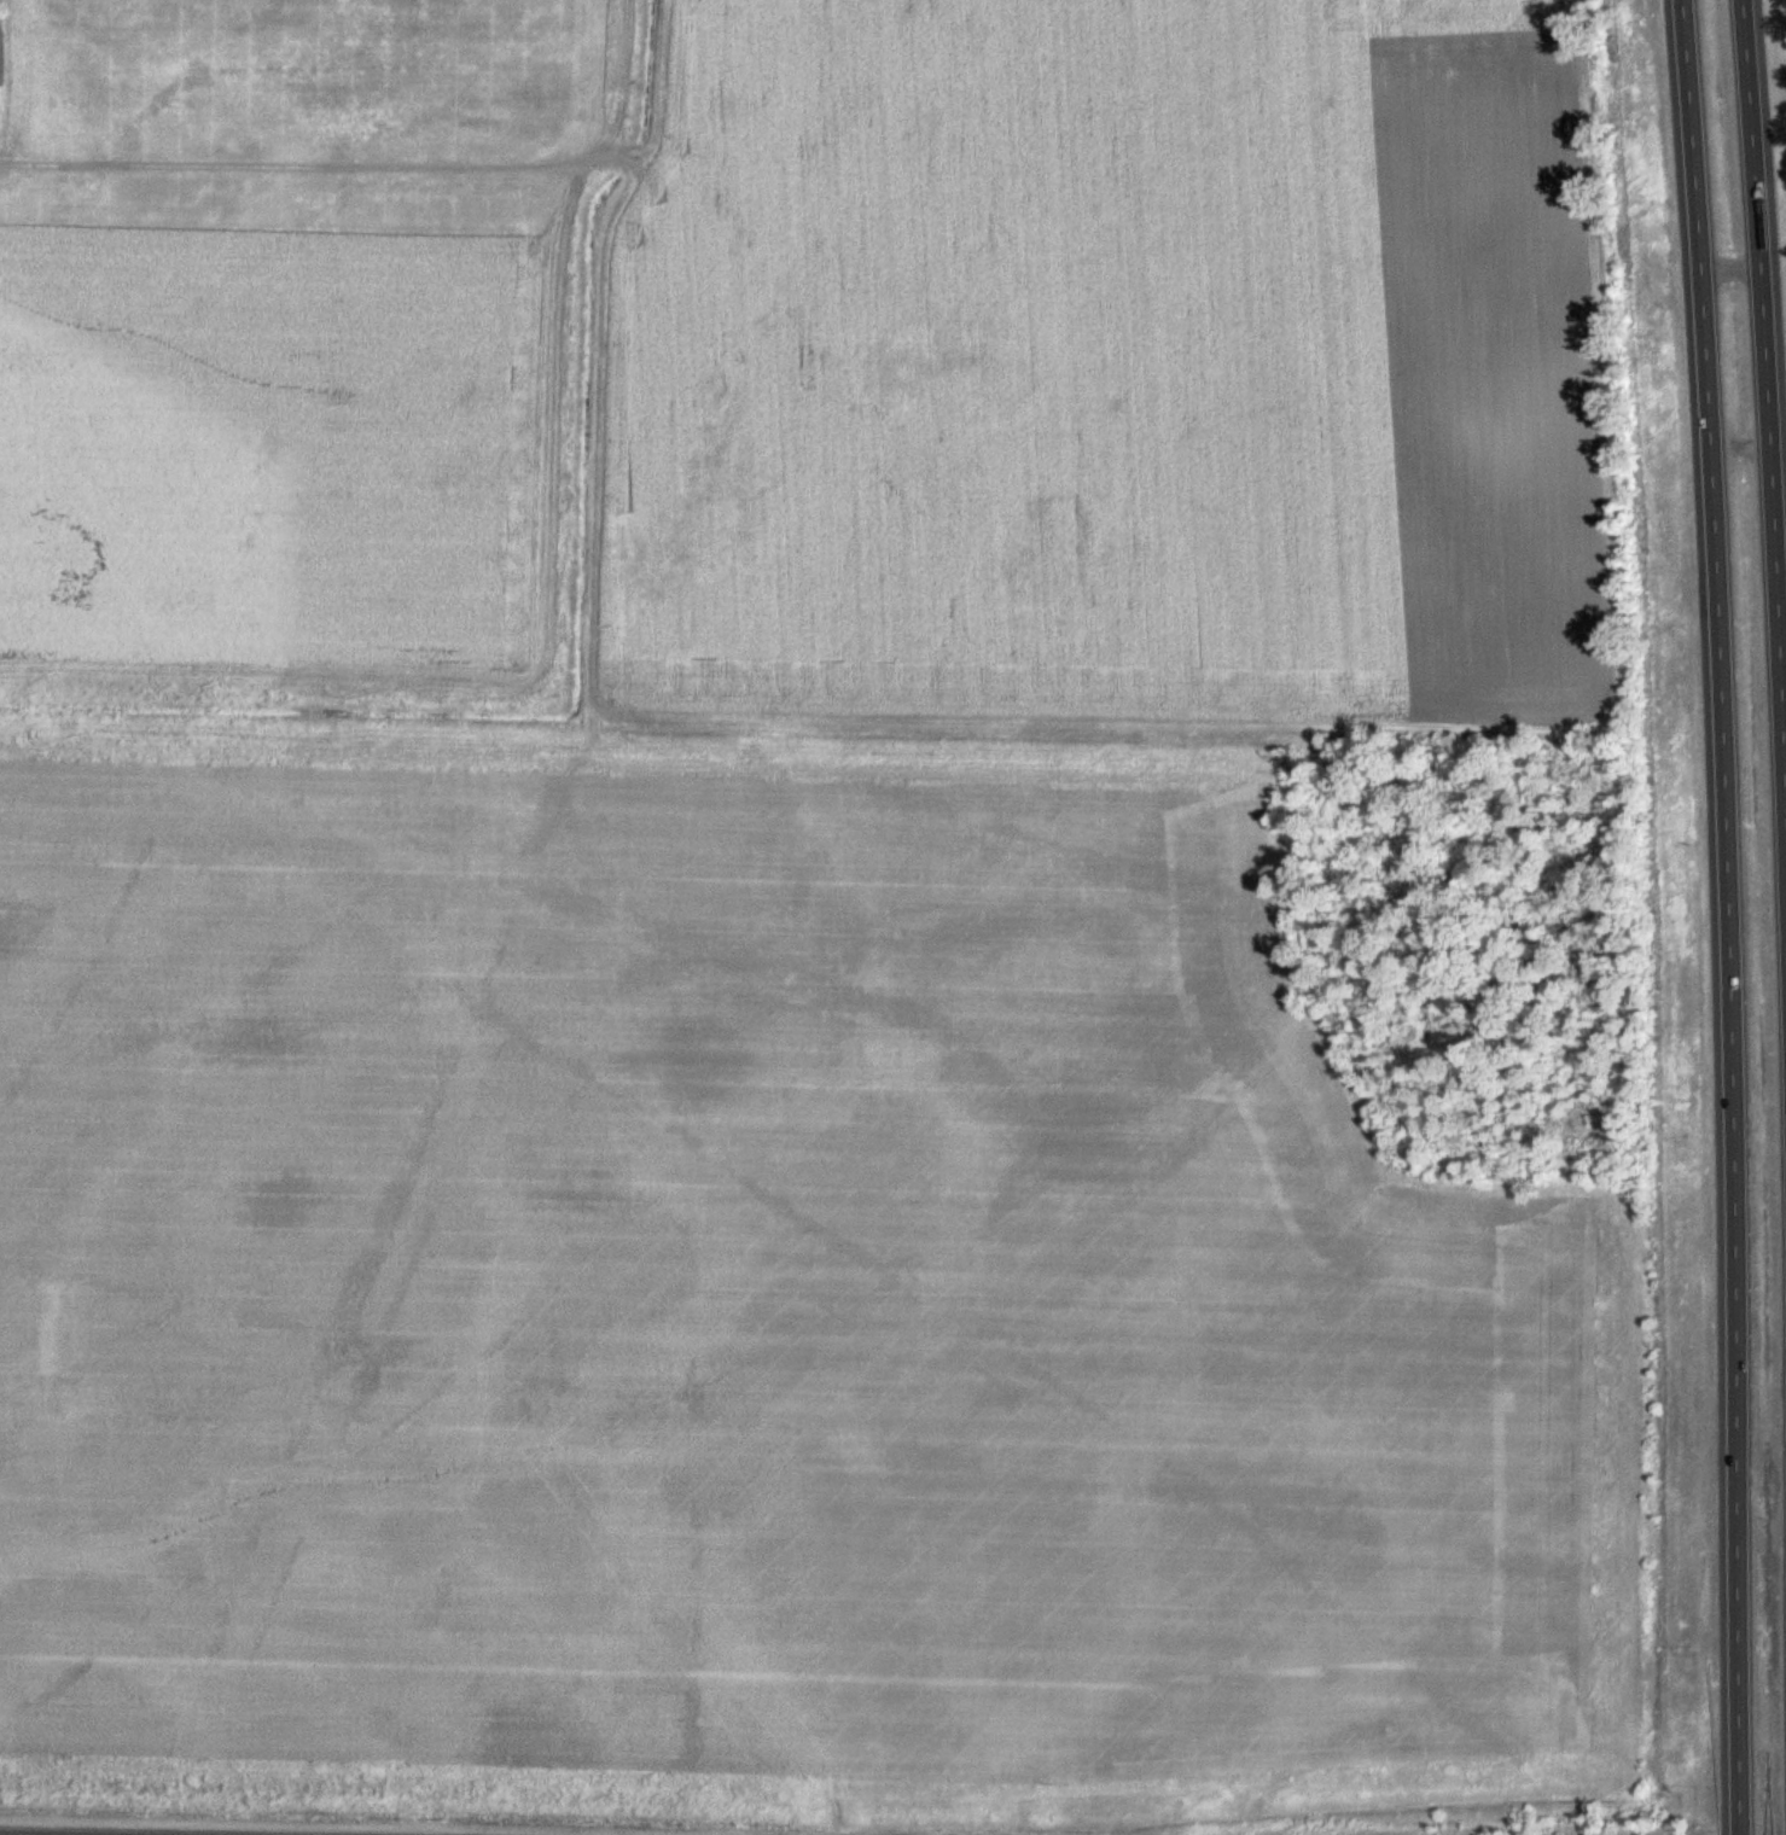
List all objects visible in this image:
road: (662, 85)
road: (606, 161)
crop: (336, 222)
road: (1733, 273)
crop: (1109, 368)
road: (1767, 384)
crop: (266, 445)
road: (591, 777)
road: (1732, 916)
crop: (762, 1303)

